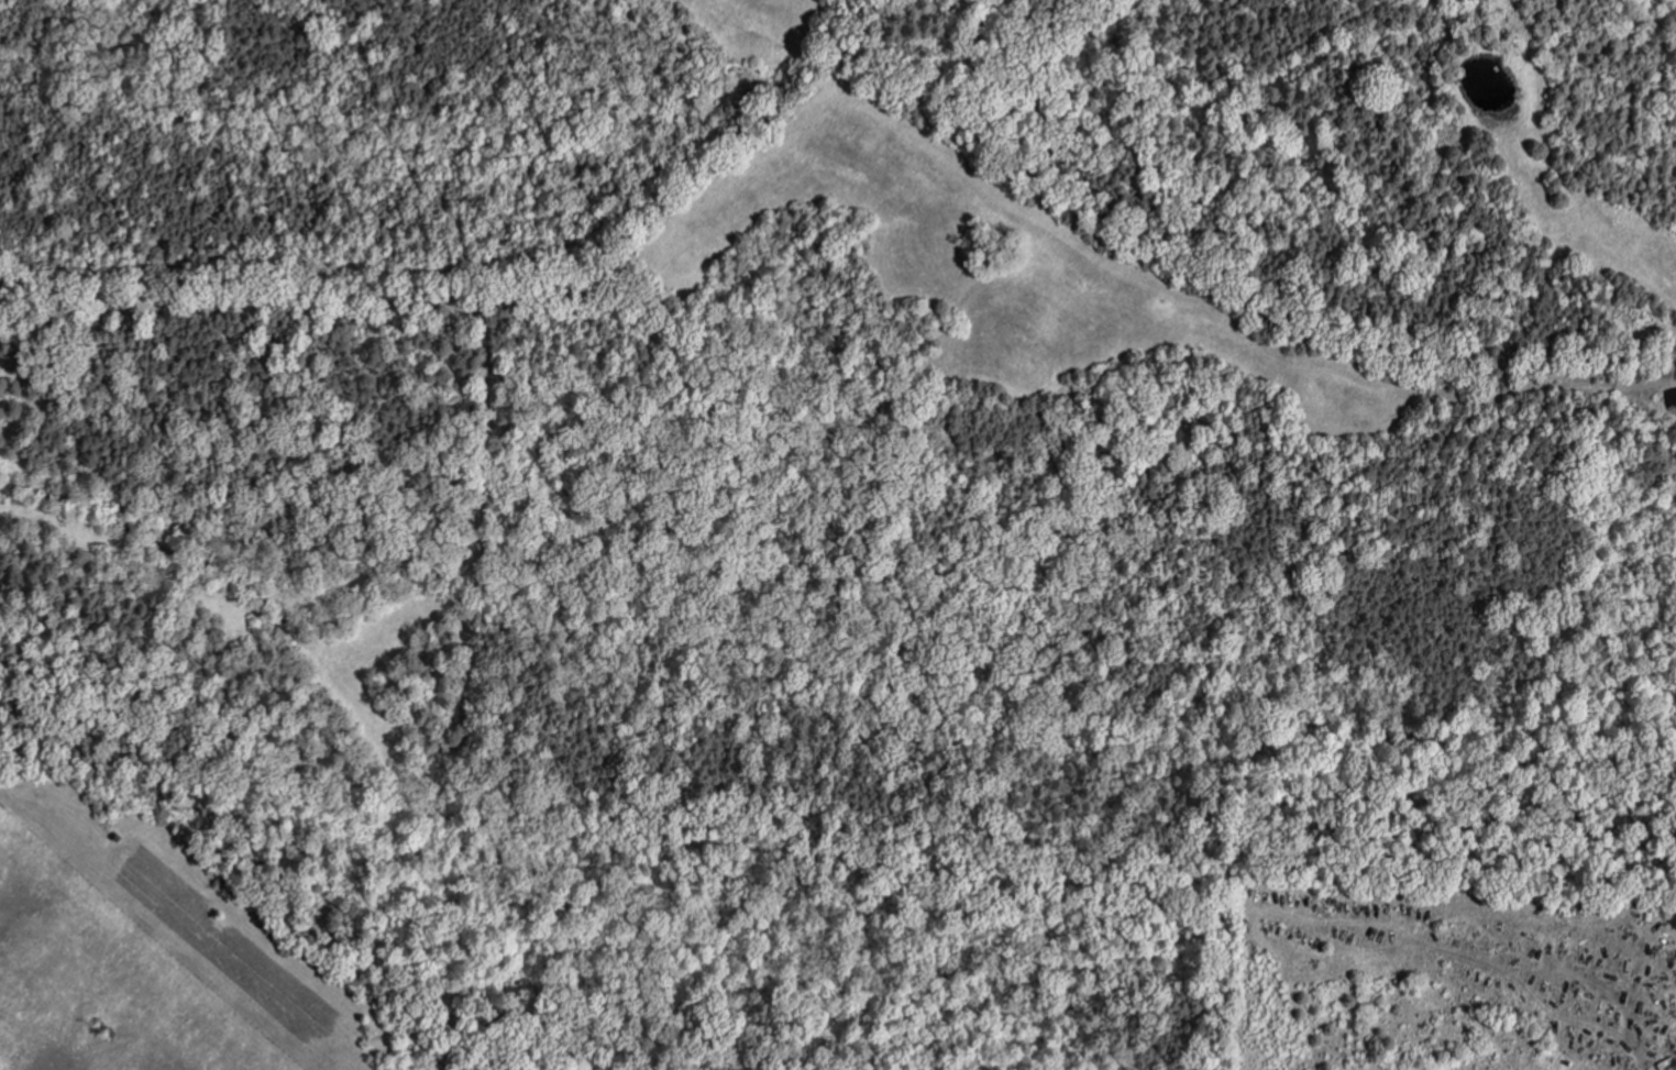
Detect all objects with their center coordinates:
road: (1638, 1055)

